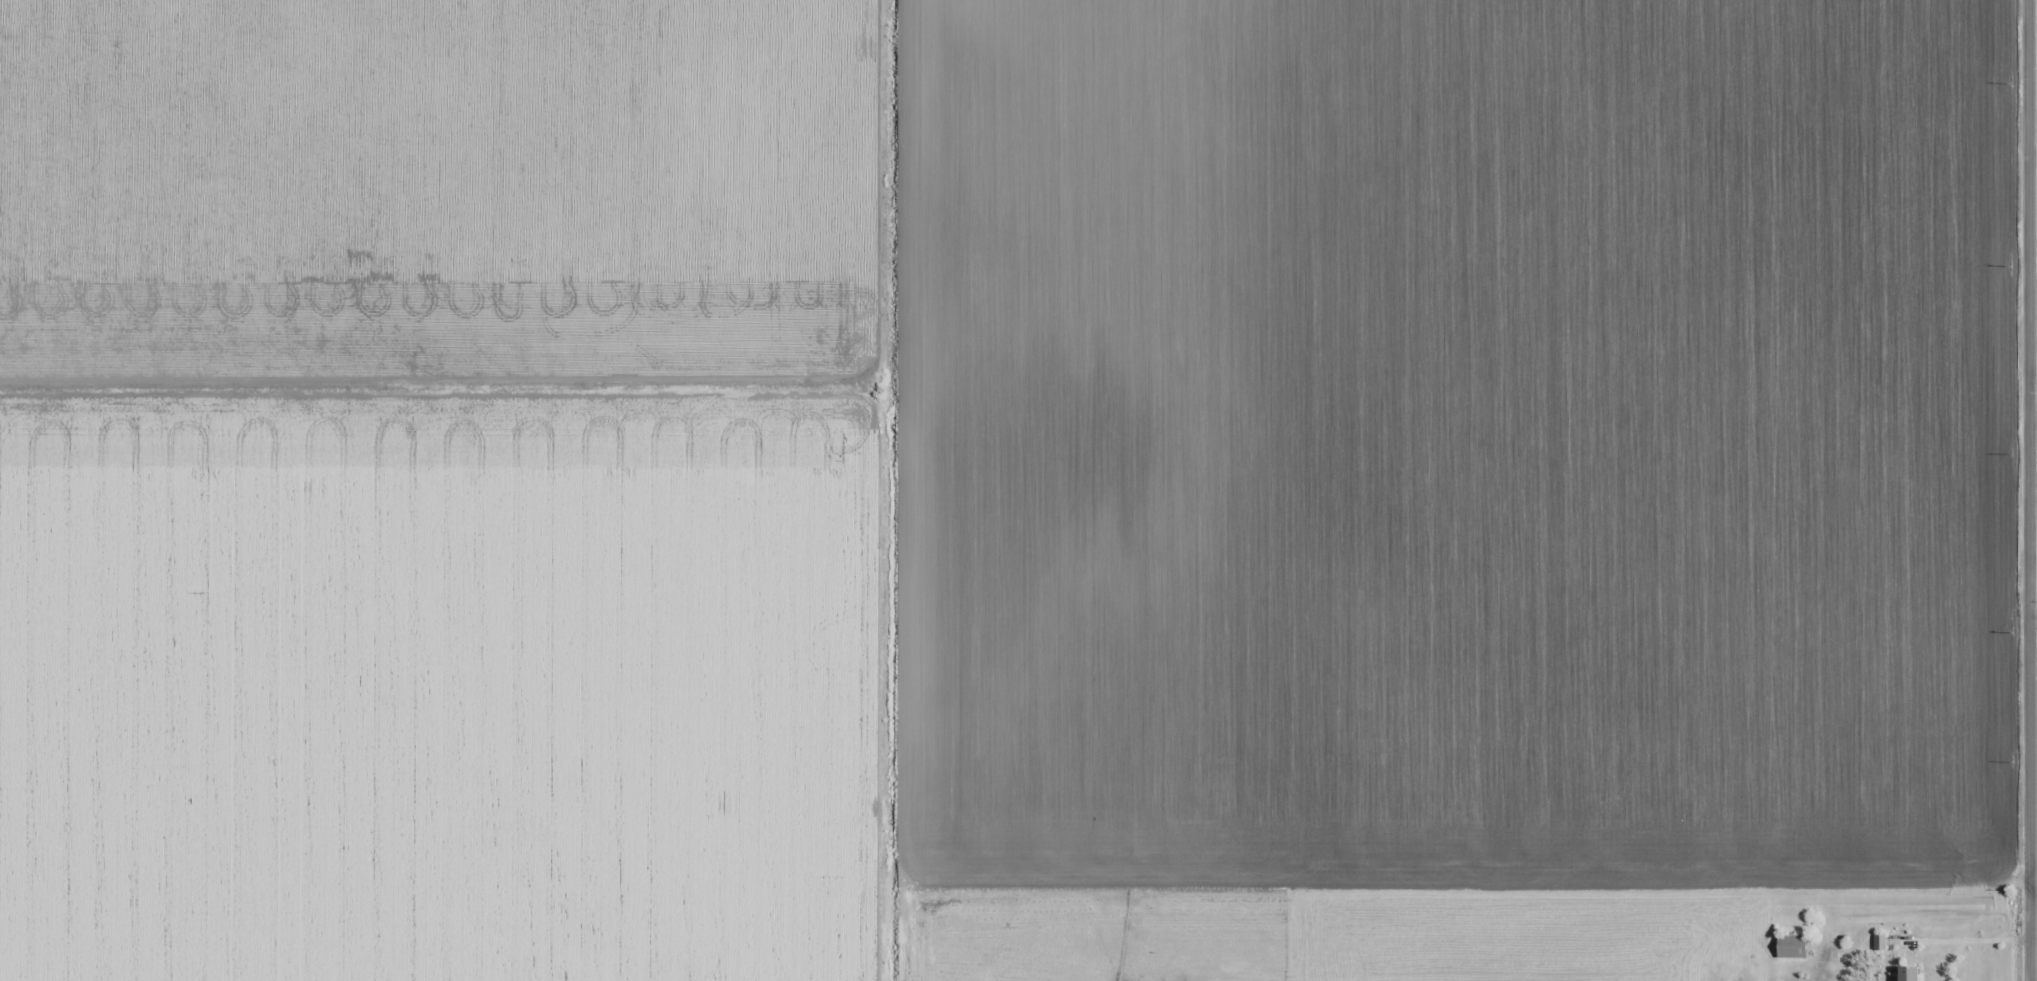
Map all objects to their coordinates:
road: (2020, 490)
building: (1880, 943)
building: (1791, 947)
building: (1907, 973)

